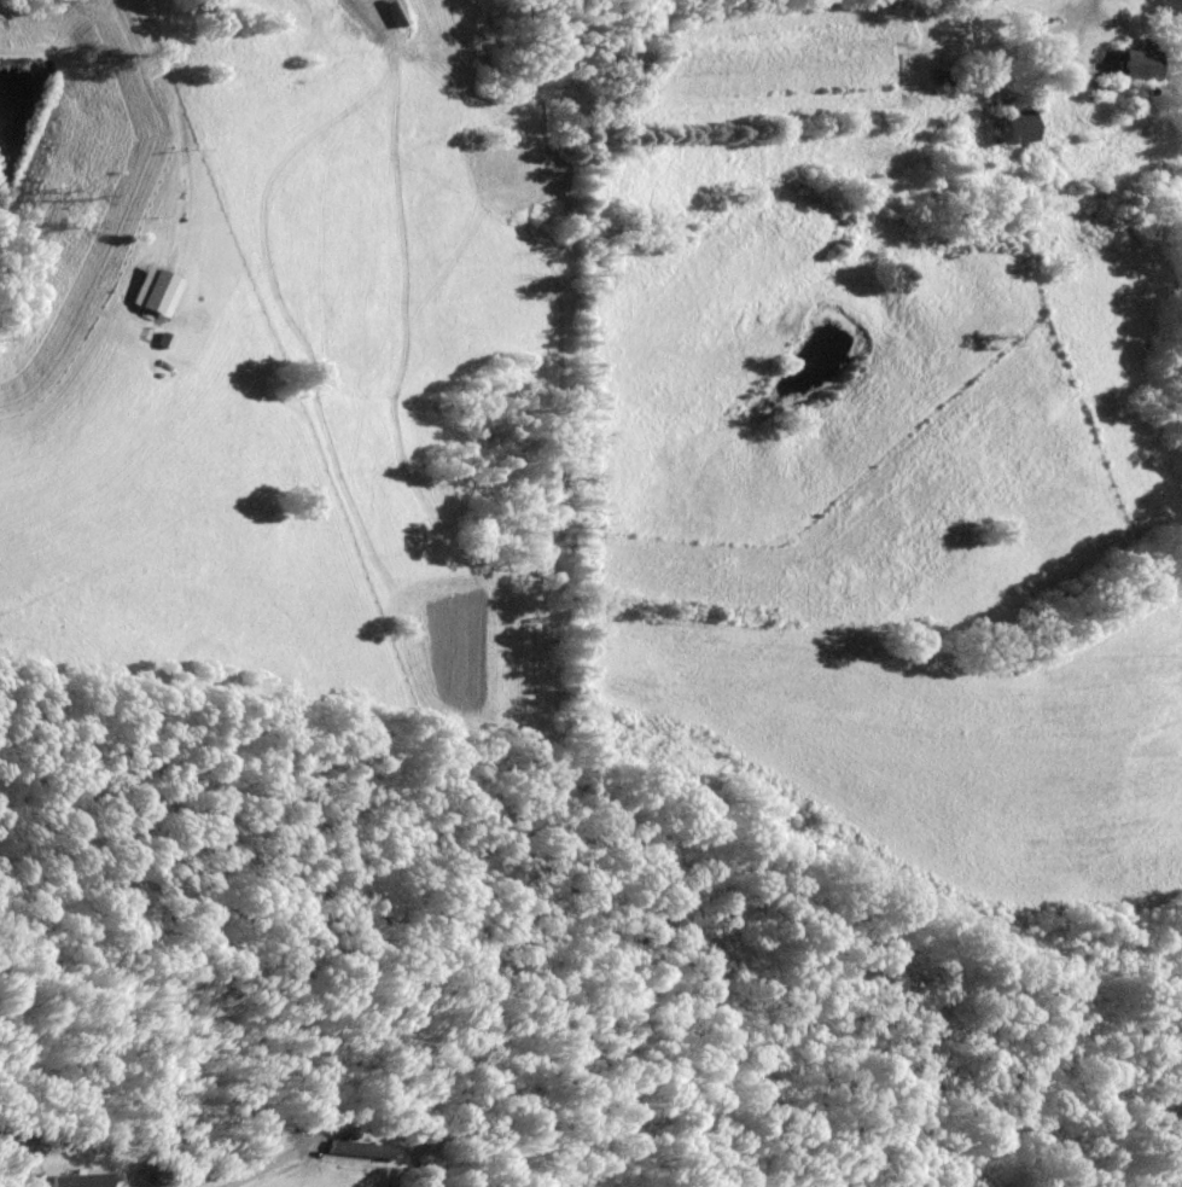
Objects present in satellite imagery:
road: (1081, 13)
building: (1044, 47)
building: (1128, 64)
building: (960, 75)
building: (1095, 83)
building: (1006, 126)
road: (180, 129)
building: (163, 292)
building: (168, 339)
building: (353, 1147)
road: (256, 1168)

